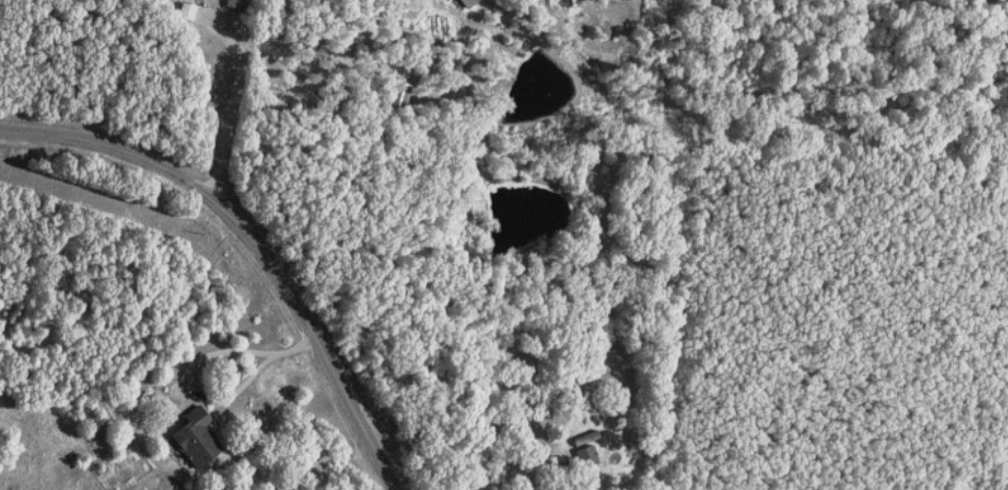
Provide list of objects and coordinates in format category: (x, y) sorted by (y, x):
building: (468, 2)
building: (238, 5)
road: (323, 70)
road: (237, 92)
building: (400, 98)
road: (254, 241)
road: (298, 346)
road: (198, 367)
building: (199, 438)
building: (589, 456)

